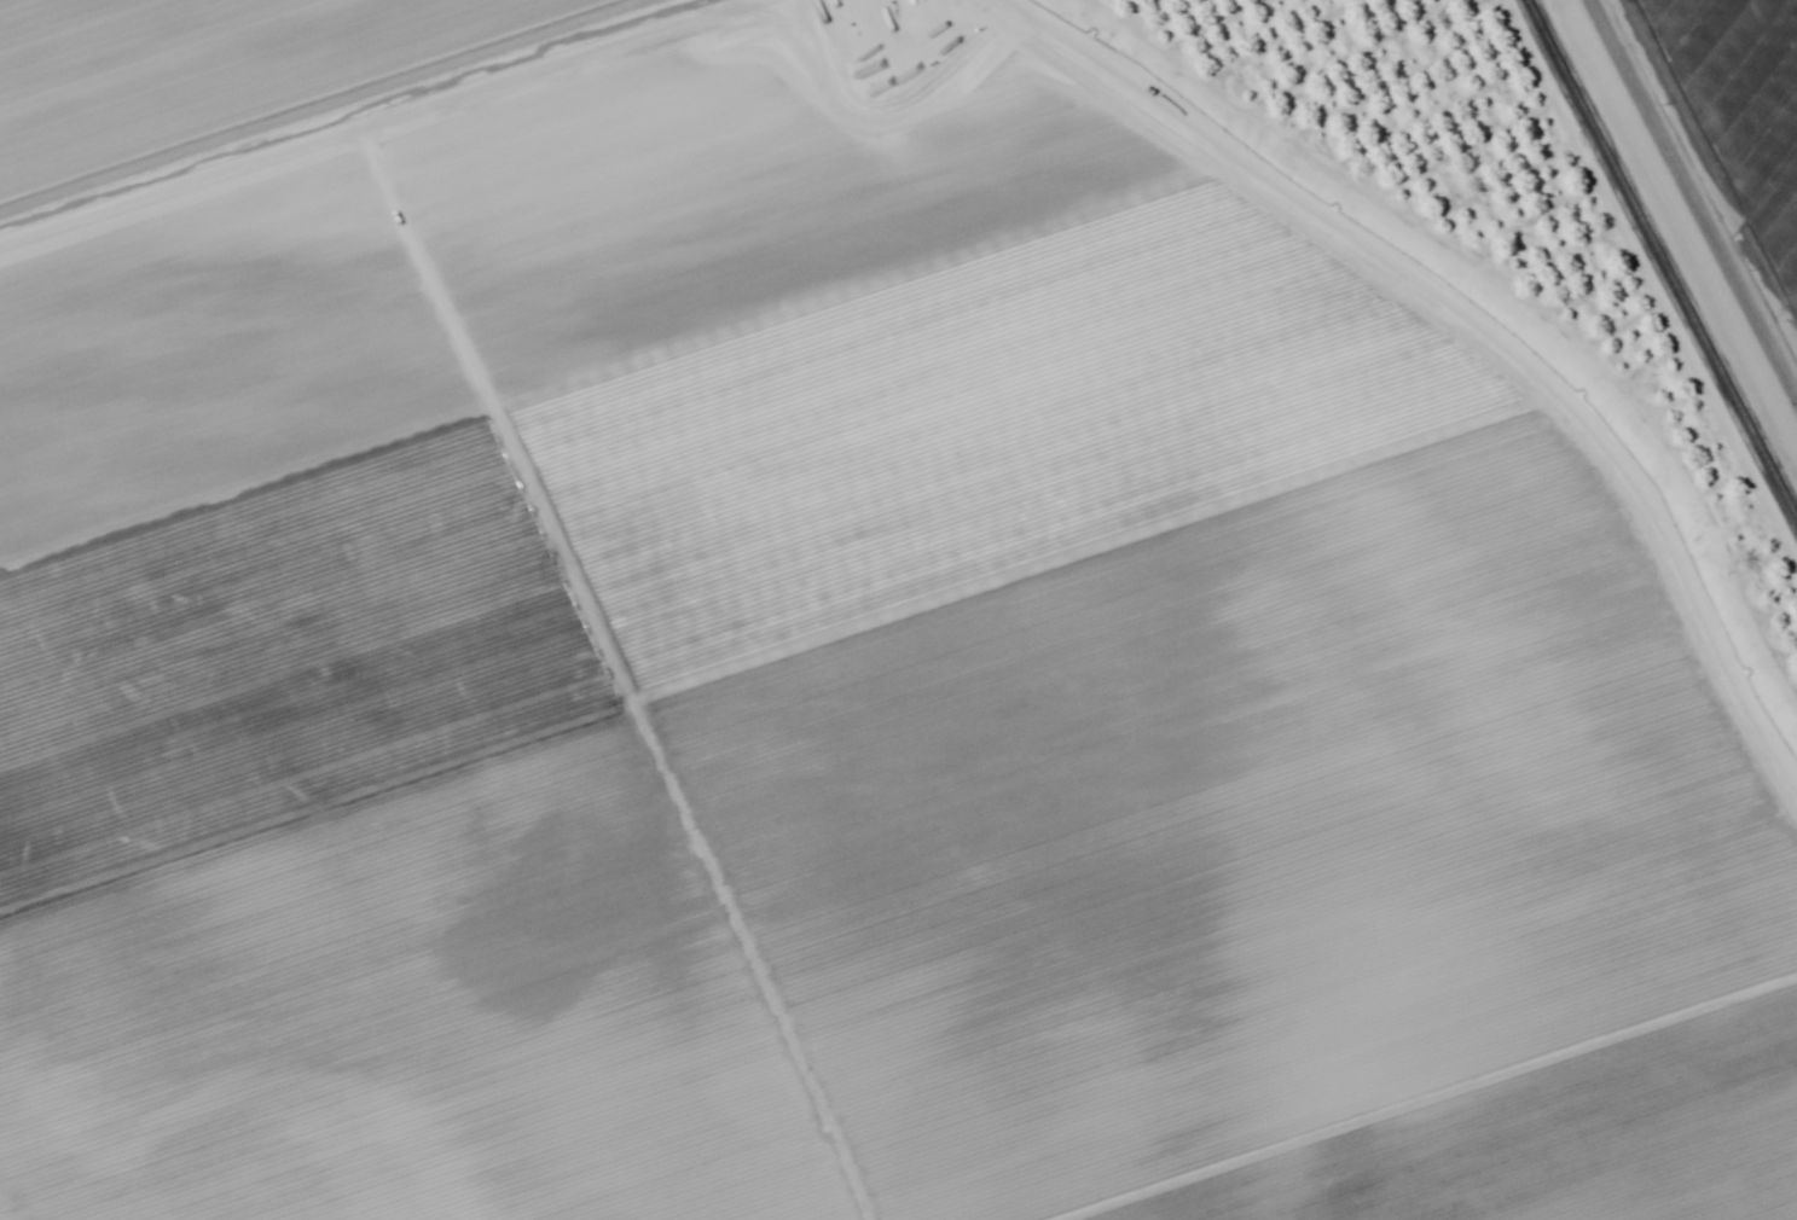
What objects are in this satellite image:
crop: (1743, 105)
road: (1716, 169)
railway: (1662, 261)
crop: (819, 656)

